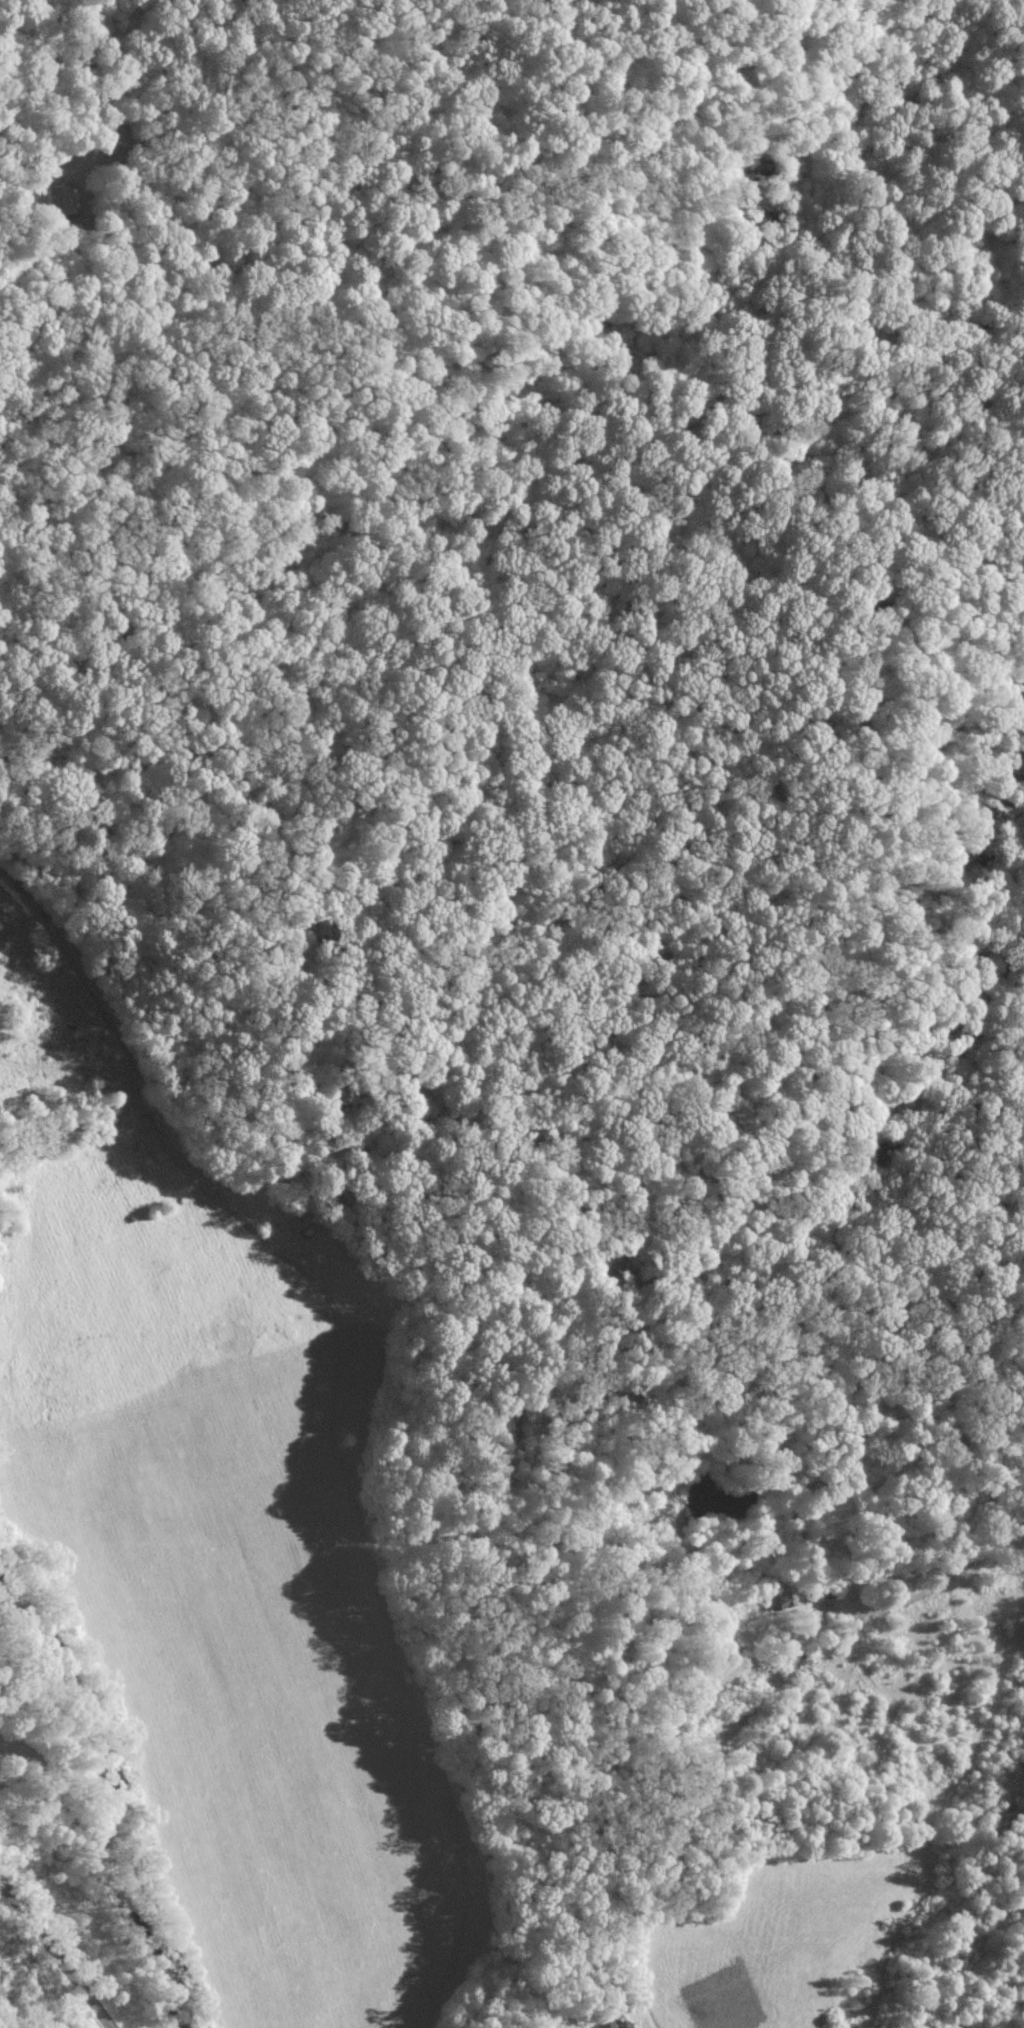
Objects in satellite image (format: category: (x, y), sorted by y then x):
road: (1, 137)
road: (42, 172)
building: (62, 197)
road: (55, 1947)

